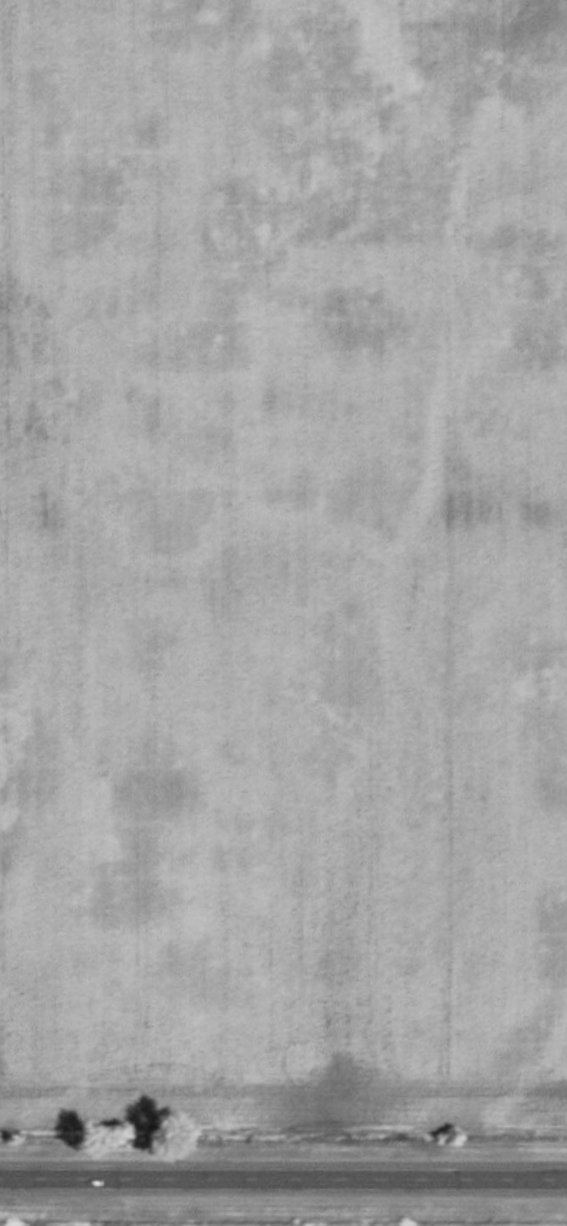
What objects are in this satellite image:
road: (283, 1179)

